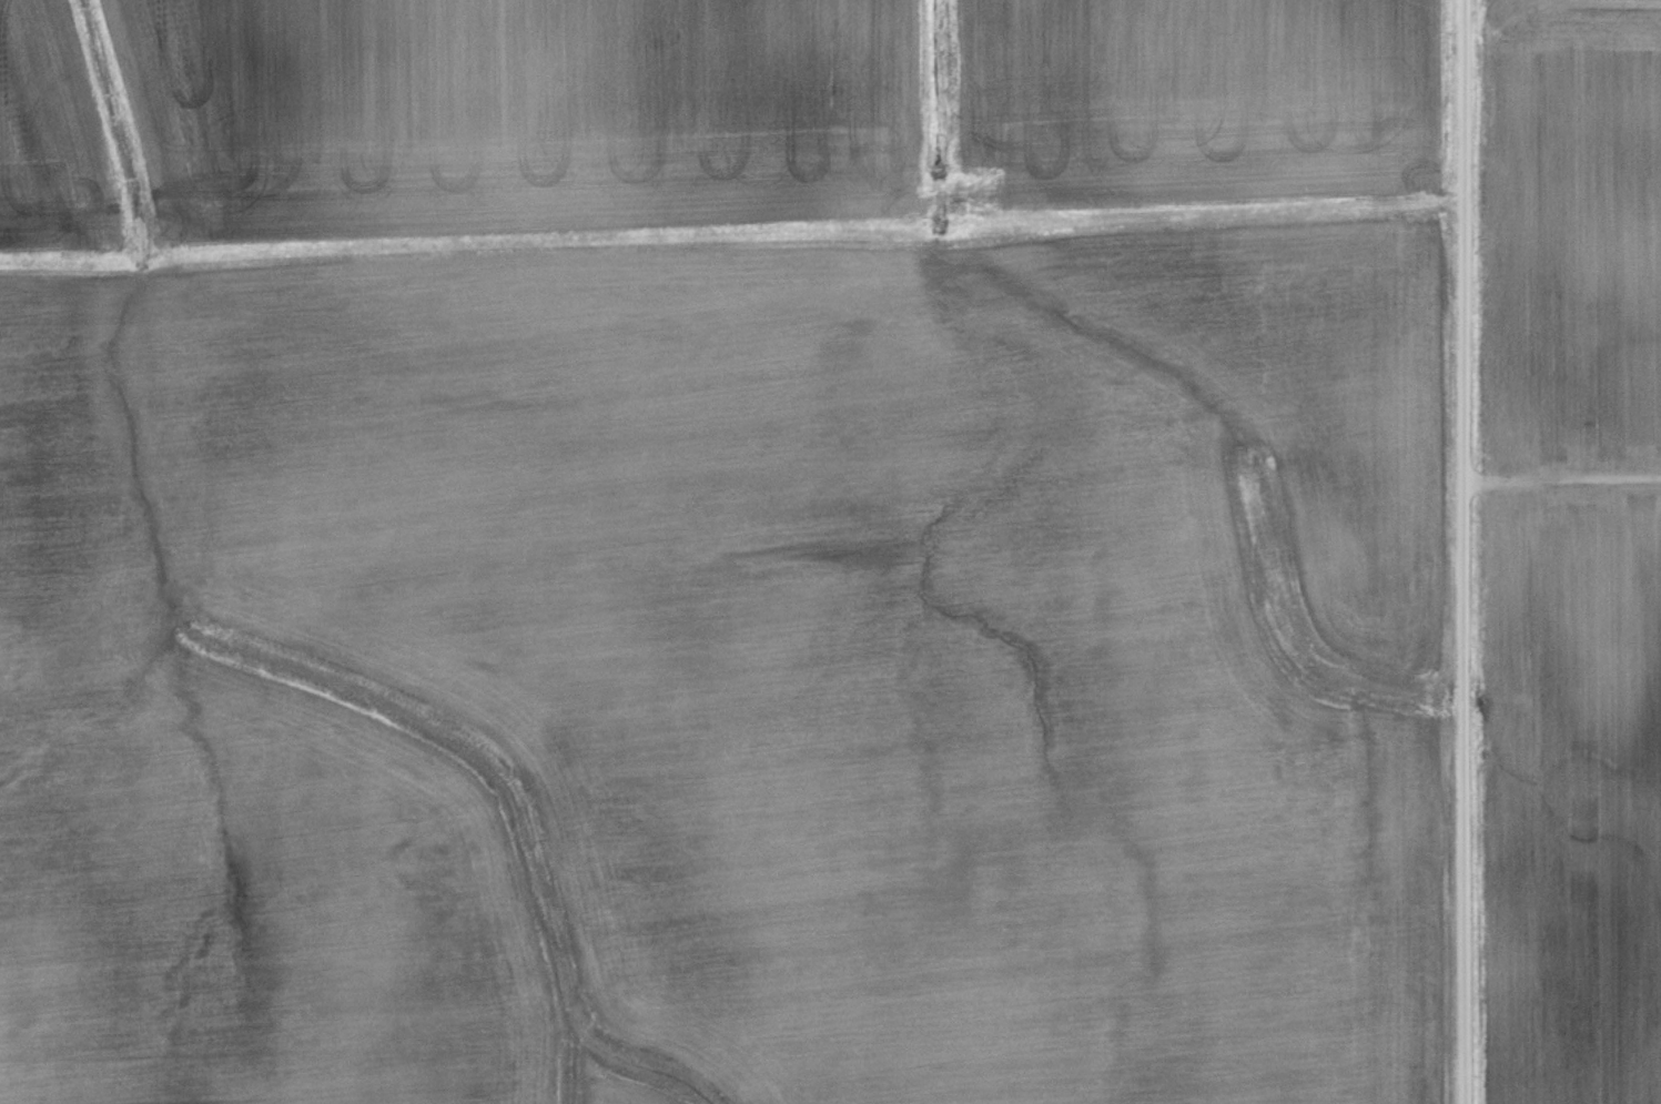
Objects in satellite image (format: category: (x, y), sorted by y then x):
road: (1462, 551)

